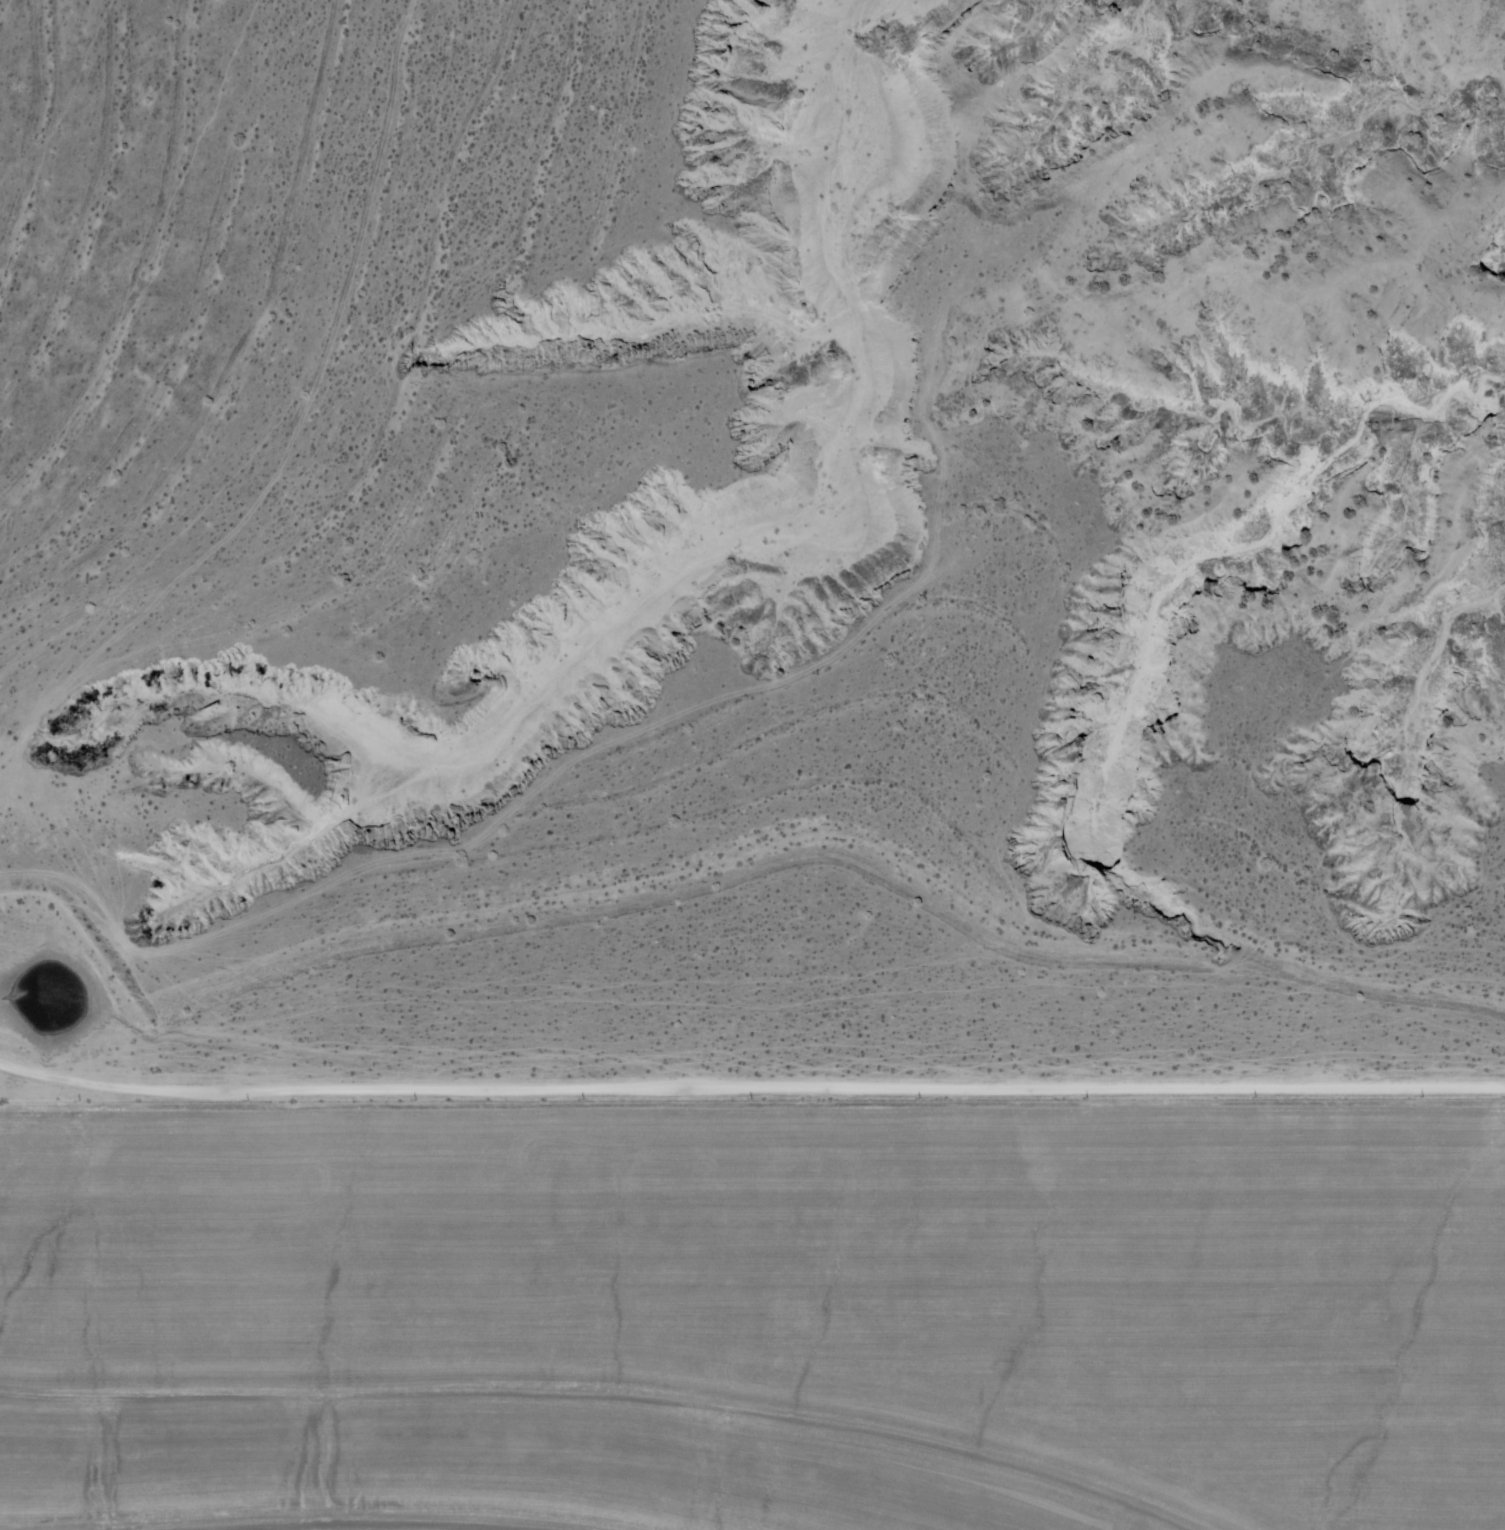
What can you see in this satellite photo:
dam: (85, 932)
road: (751, 1093)
crop: (754, 1313)

